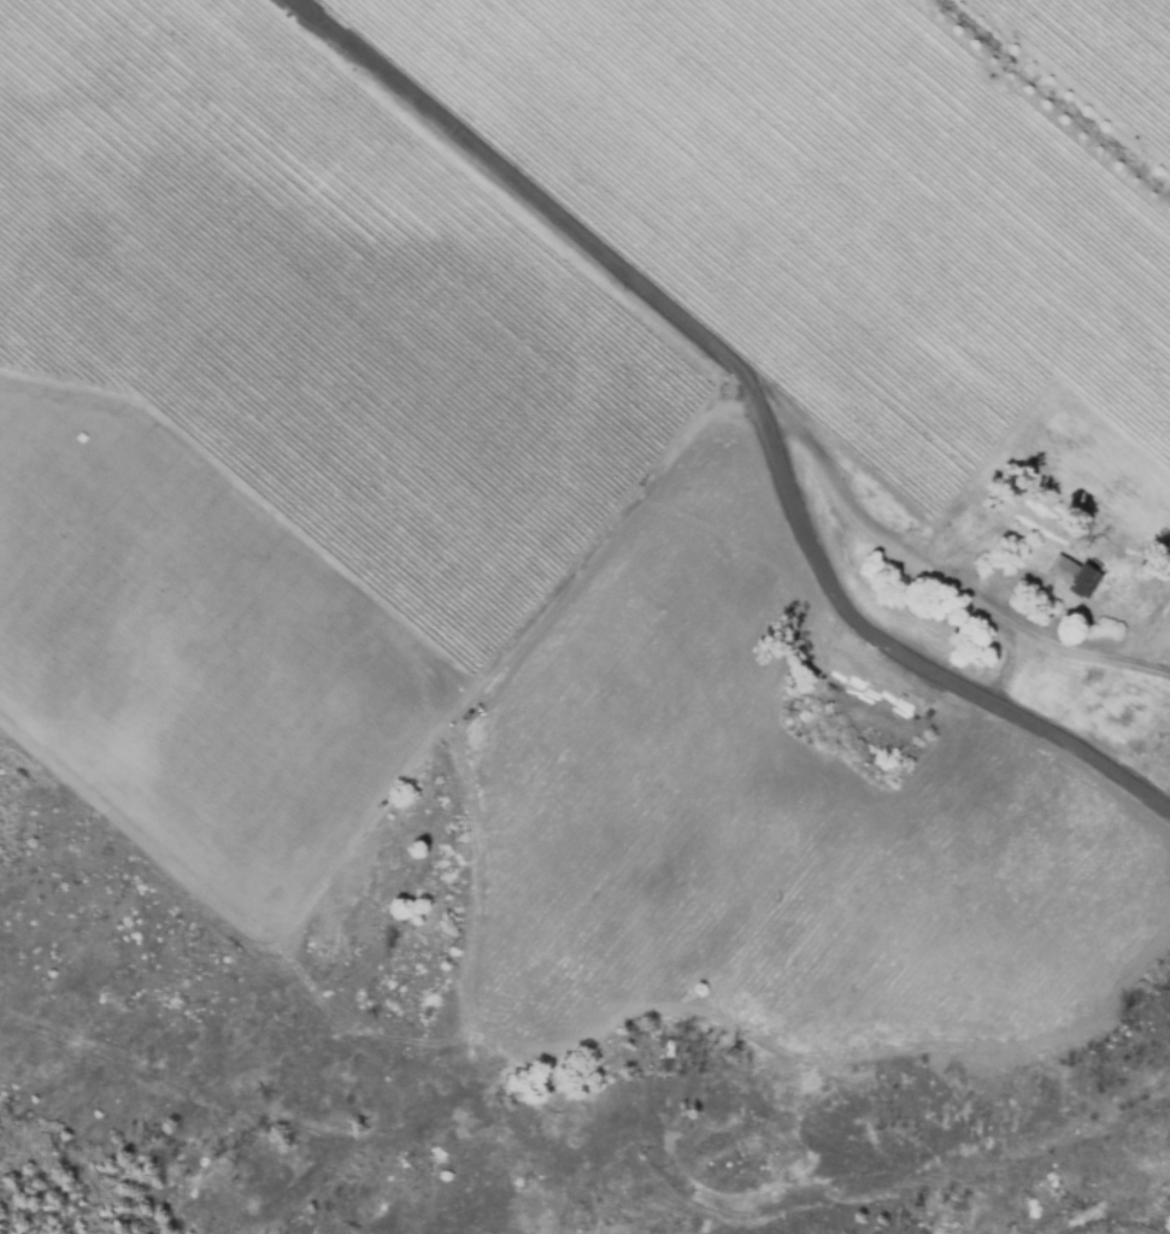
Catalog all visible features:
road: (760, 402)
road: (865, 519)
building: (1065, 575)

